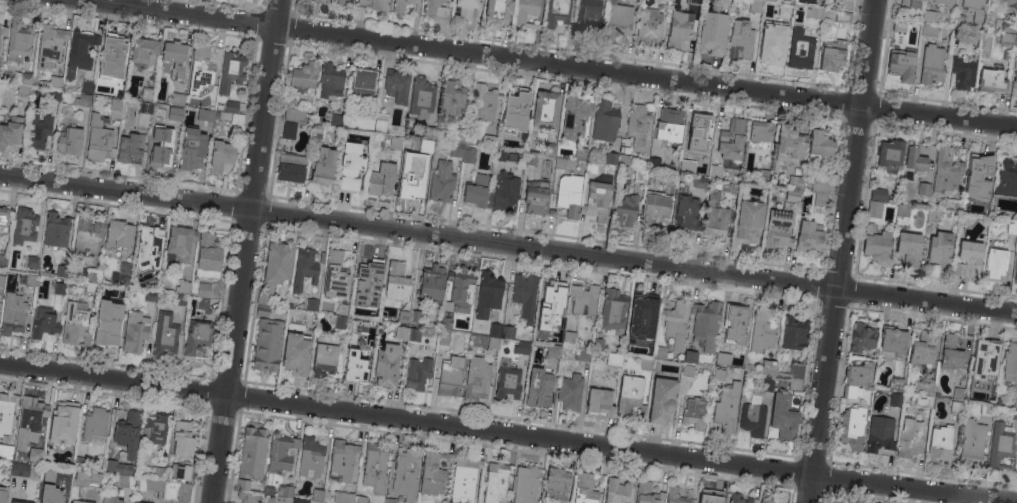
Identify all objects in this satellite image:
building: (314, 0)
building: (357, 0)
building: (415, 0)
building: (664, 0)
building: (668, 0)
building: (919, 0)
building: (337, 2)
building: (694, 2)
building: (725, 3)
building: (909, 3)
building: (944, 3)
building: (379, 5)
building: (399, 5)
building: (755, 5)
building: (846, 5)
building: (1001, 5)
building: (466, 8)
building: (975, 8)
building: (436, 9)
building: (784, 10)
building: (497, 12)
building: (557, 12)
building: (815, 12)
building: (526, 13)
building: (914, 13)
building: (588, 15)
building: (843, 16)
building: (930, 16)
building: (959, 20)
building: (618, 22)
building: (901, 25)
building: (1007, 26)
building: (649, 27)
building: (679, 28)
building: (928, 29)
building: (3, 31)
building: (957, 32)
building: (712, 33)
building: (1008, 38)
building: (740, 39)
building: (19, 41)
building: (772, 43)
building: (50, 45)
building: (800, 49)
building: (80, 51)
building: (143, 53)
building: (832, 55)
building: (112, 56)
building: (175, 57)
road: (549, 63)
building: (932, 64)
building: (901, 65)
building: (200, 68)
building: (231, 70)
building: (0, 73)
building: (962, 73)
building: (304, 74)
building: (23, 77)
building: (991, 79)
building: (330, 80)
building: (1014, 81)
building: (52, 82)
building: (362, 82)
building: (469, 84)
building: (86, 86)
building: (396, 86)
building: (24, 90)
building: (54, 94)
building: (146, 94)
building: (421, 97)
building: (178, 99)
building: (452, 99)
building: (83, 100)
building: (484, 101)
building: (116, 104)
building: (219, 106)
building: (231, 106)
building: (145, 107)
building: (545, 109)
building: (159, 110)
building: (514, 112)
building: (295, 113)
building: (205, 115)
building: (573, 116)
building: (237, 118)
building: (336, 119)
building: (605, 120)
building: (360, 122)
building: (380, 126)
building: (667, 126)
building: (638, 128)
building: (289, 129)
building: (38, 130)
building: (10, 131)
building: (317, 131)
building: (699, 131)
building: (758, 132)
building: (459, 137)
building: (98, 138)
building: (731, 139)
building: (70, 141)
building: (489, 141)
building: (396, 143)
building: (789, 144)
building: (819, 145)
building: (129, 146)
building: (549, 148)
building: (158, 150)
building: (191, 150)
building: (422, 150)
building: (457, 150)
building: (580, 153)
building: (889, 153)
building: (220, 155)
building: (469, 155)
building: (500, 155)
building: (512, 156)
building: (529, 158)
building: (611, 158)
building: (623, 159)
building: (915, 160)
building: (654, 161)
building: (564, 163)
building: (324, 165)
building: (350, 165)
building: (684, 165)
building: (290, 166)
building: (591, 167)
building: (627, 169)
building: (715, 171)
building: (945, 171)
building: (640, 175)
building: (763, 176)
building: (978, 176)
building: (1006, 178)
building: (381, 179)
building: (670, 180)
building: (410, 181)
building: (794, 181)
building: (442, 182)
building: (699, 182)
building: (820, 186)
building: (733, 189)
building: (923, 189)
building: (476, 190)
building: (504, 192)
building: (569, 194)
building: (878, 194)
building: (792, 196)
building: (536, 197)
building: (598, 198)
building: (820, 198)
building: (951, 204)
building: (654, 209)
building: (874, 209)
building: (625, 210)
building: (903, 210)
building: (552, 213)
building: (686, 214)
building: (933, 214)
building: (1014, 215)
building: (716, 216)
building: (5, 217)
building: (748, 221)
building: (24, 225)
building: (1012, 225)
building: (777, 228)
building: (56, 230)
building: (118, 234)
building: (87, 236)
building: (807, 237)
building: (180, 242)
road: (508, 244)
building: (876, 245)
building: (148, 248)
building: (909, 248)
road: (247, 251)
road: (844, 251)
building: (939, 251)
building: (207, 256)
building: (968, 259)
building: (3, 260)
building: (32, 261)
building: (996, 265)
building: (275, 269)
building: (62, 270)
building: (305, 271)
building: (90, 273)
building: (1015, 273)
building: (121, 274)
building: (335, 274)
building: (28, 279)
building: (396, 279)
building: (2, 280)
building: (431, 282)
building: (367, 284)
building: (183, 286)
building: (91, 287)
building: (59, 288)
building: (204, 289)
building: (457, 294)
building: (488, 294)
building: (151, 295)
building: (525, 295)
building: (553, 298)
building: (182, 299)
building: (583, 299)
building: (203, 303)
building: (311, 303)
building: (342, 308)
building: (262, 310)
building: (613, 311)
building: (12, 314)
building: (404, 316)
building: (416, 316)
building: (642, 317)
building: (44, 322)
building: (75, 322)
building: (107, 323)
building: (338, 323)
building: (675, 323)
building: (706, 324)
building: (734, 324)
building: (495, 329)
building: (135, 331)
building: (761, 331)
building: (400, 332)
building: (508, 332)
building: (794, 333)
building: (165, 334)
building: (414, 334)
building: (197, 335)
building: (538, 336)
building: (861, 336)
building: (569, 337)
building: (443, 340)
building: (493, 342)
building: (598, 343)
building: (893, 343)
building: (267, 344)
building: (522, 347)
building: (922, 348)
building: (555, 350)
building: (659, 352)
building: (950, 353)
building: (296, 354)
building: (583, 354)
building: (324, 355)
building: (690, 356)
building: (720, 359)
building: (984, 359)
building: (614, 360)
building: (1010, 362)
building: (645, 363)
building: (354, 364)
building: (386, 365)
building: (768, 366)
building: (796, 370)
building: (688, 371)
building: (418, 373)
building: (858, 374)
building: (719, 375)
building: (450, 376)
building: (477, 378)
building: (766, 382)
building: (507, 383)
building: (794, 383)
building: (897, 384)
building: (540, 387)
building: (924, 388)
building: (570, 391)
building: (849, 391)
building: (958, 393)
building: (629, 395)
building: (662, 400)
building: (895, 400)
building: (924, 400)
building: (1015, 401)
building: (599, 402)
building: (727, 407)
building: (956, 407)
building: (986, 409)
building: (5, 412)
building: (694, 412)
building: (1014, 414)
building: (753, 416)
building: (783, 416)
building: (30, 420)
building: (63, 423)
building: (95, 425)
building: (852, 427)
building: (155, 429)
building: (127, 431)
road: (507, 433)
building: (880, 434)
building: (182, 437)
building: (909, 439)
building: (971, 442)
building: (940, 444)
building: (1002, 444)
building: (6, 450)
building: (253, 452)
building: (281, 452)
building: (35, 454)
building: (311, 457)
building: (342, 459)
building: (80, 462)
building: (375, 466)
building: (117, 467)
building: (20, 468)
building: (180, 470)
building: (152, 471)
building: (49, 473)
building: (405, 473)
building: (433, 473)
building: (96, 477)
building: (464, 479)
building: (557, 479)
building: (124, 480)
building: (495, 481)
building: (154, 484)
building: (242, 484)
building: (524, 484)
building: (586, 487)
building: (268, 489)
building: (616, 491)
building: (184, 492)
building: (644, 492)
building: (2, 494)
building: (50, 494)
building: (282, 494)
building: (320, 495)
building: (661, 495)
building: (710, 495)
building: (248, 496)
building: (676, 496)
building: (343, 497)
building: (110, 499)
building: (360, 499)
building: (739, 499)
building: (300, 500)
building: (391, 500)
building: (766, 500)
building: (17, 501)
building: (77, 501)
building: (133, 502)
building: (136, 502)
building: (500, 502)

